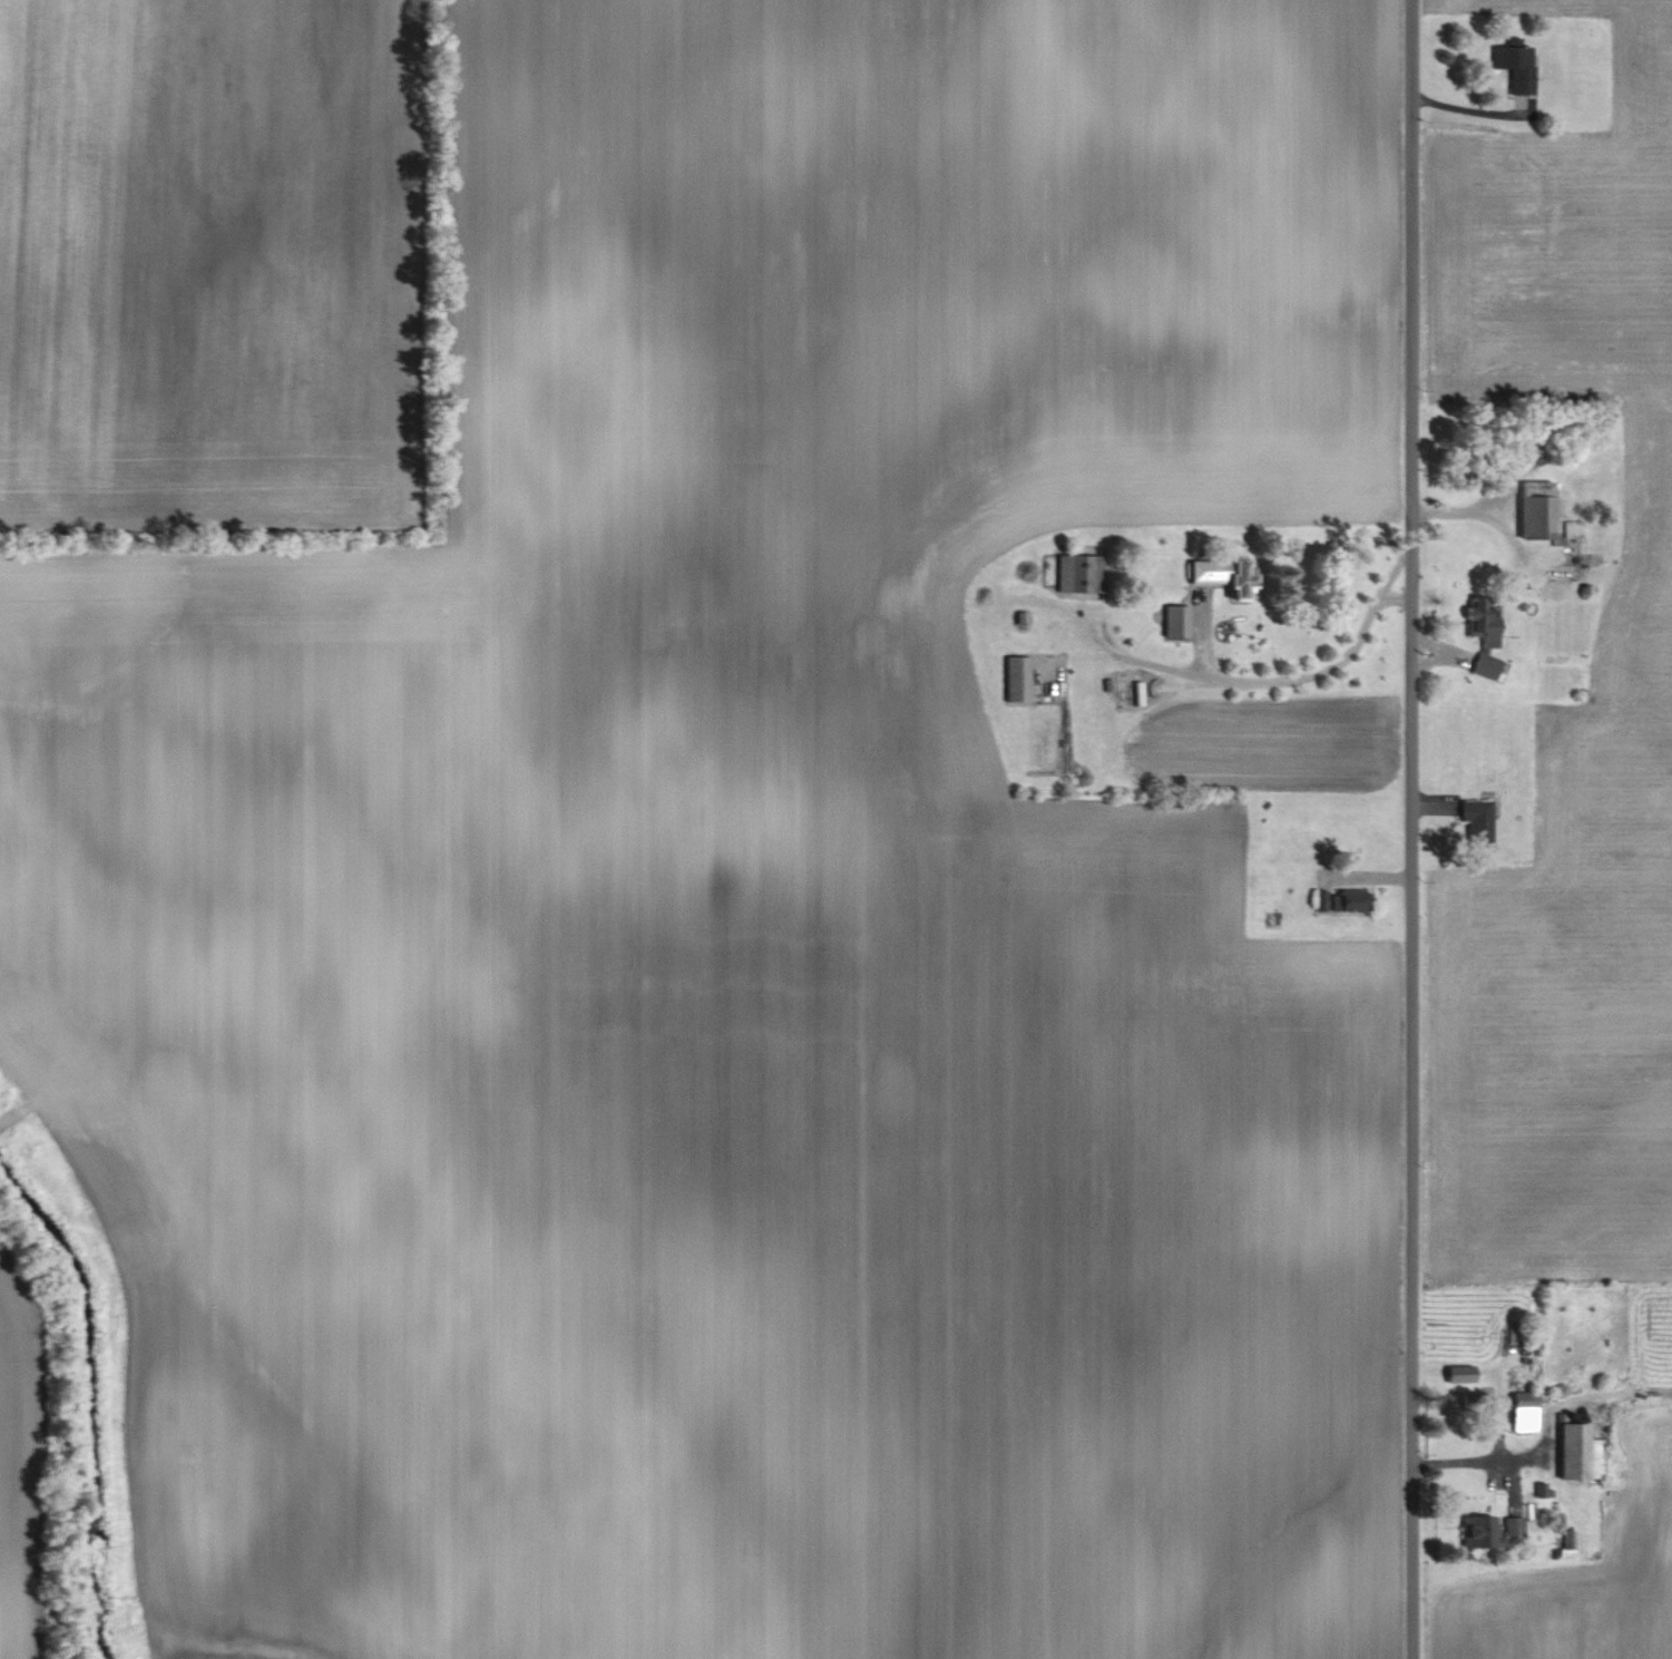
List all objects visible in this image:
building: (1516, 68)
road: (1468, 108)
building: (1536, 509)
road: (1466, 510)
building: (1572, 529)
building: (1562, 572)
building: (1081, 573)
building: (1222, 576)
building: (1176, 621)
building: (1482, 636)
road: (1244, 674)
building: (1018, 680)
building: (1477, 822)
road: (1410, 829)
building: (1320, 900)
building: (1351, 901)
building: (1516, 1337)
building: (1460, 1375)
building: (1469, 1402)
building: (1524, 1413)
building: (1580, 1454)
road: (1470, 1457)
building: (1489, 1532)

